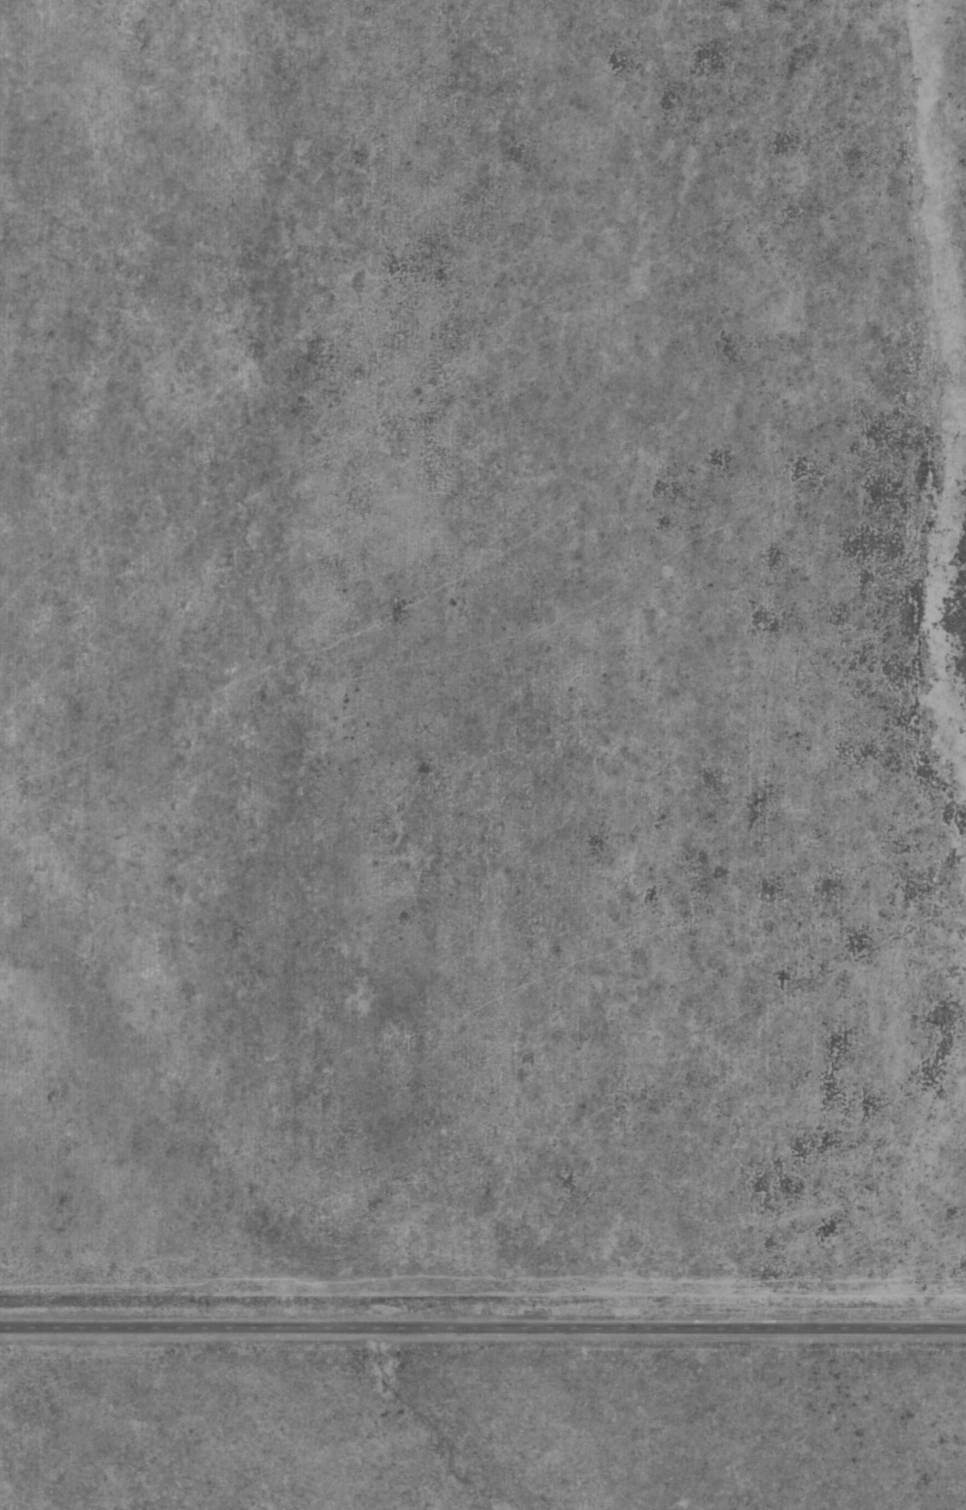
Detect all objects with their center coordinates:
road: (483, 1330)

